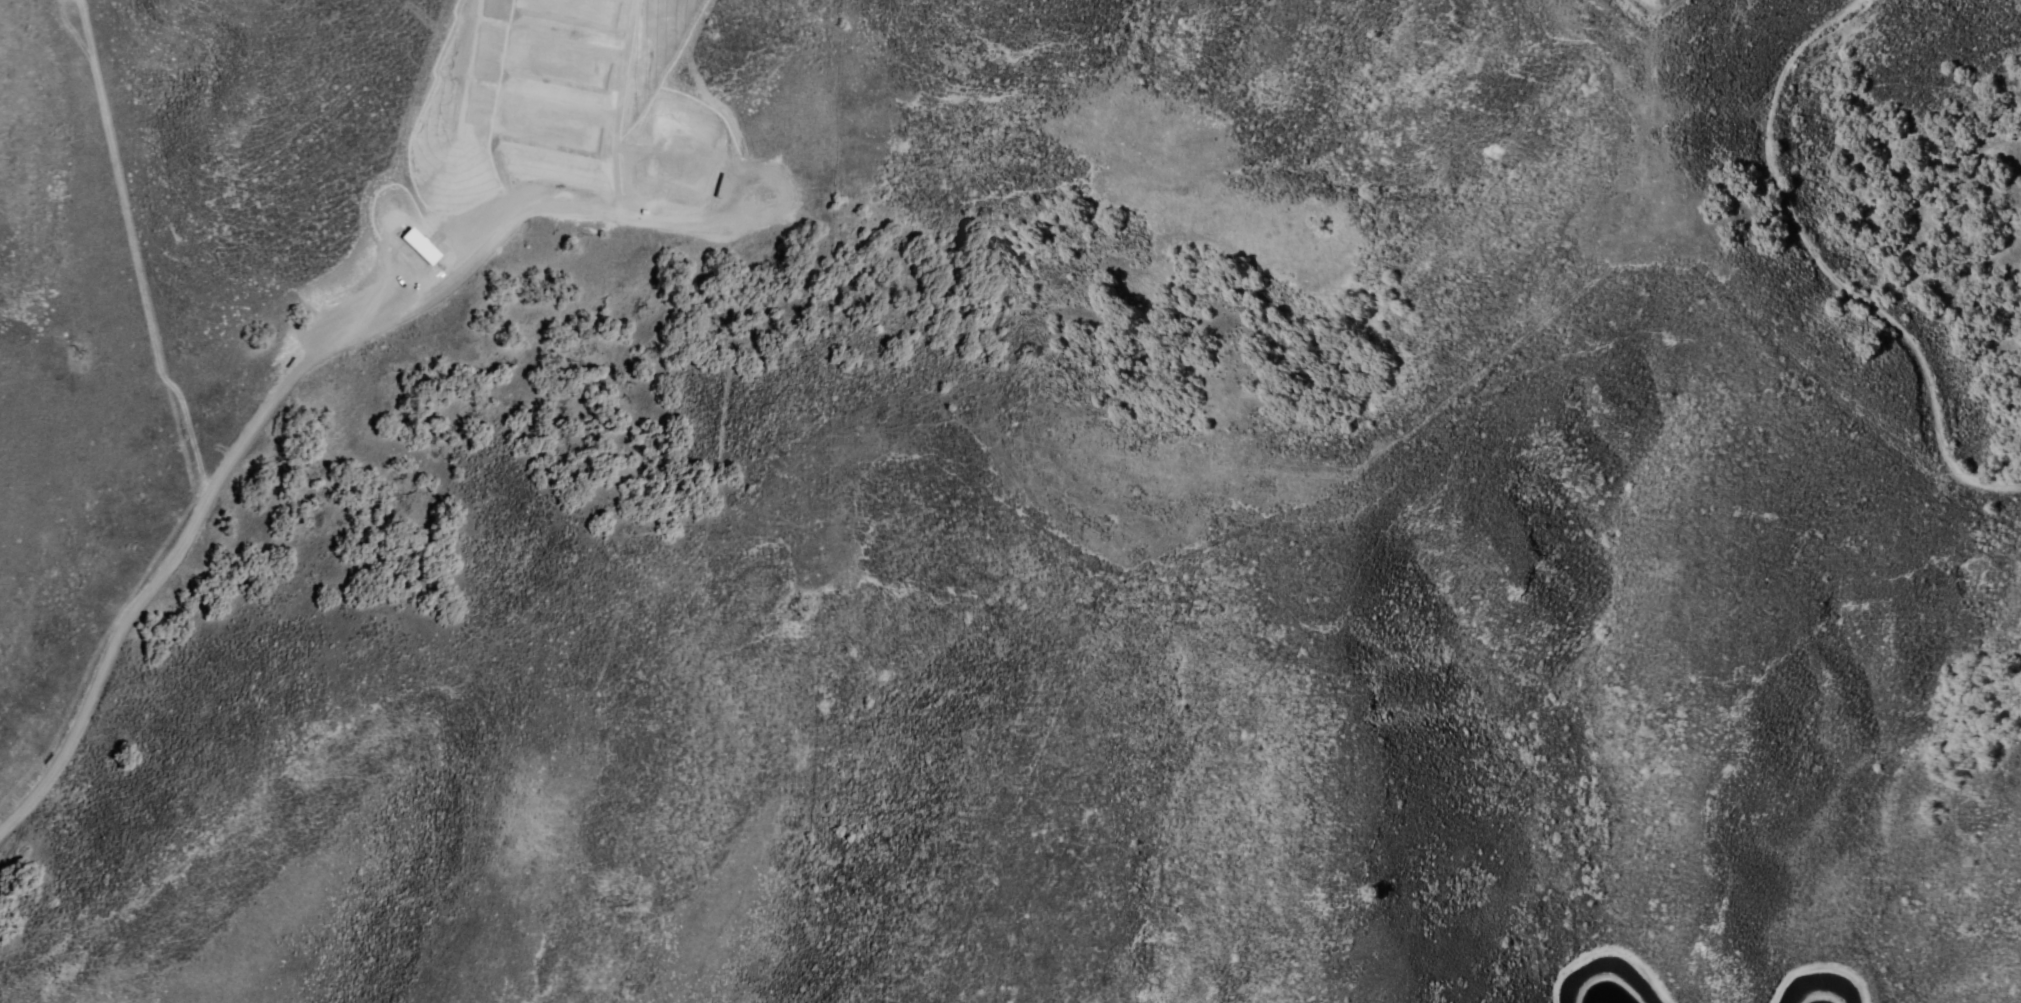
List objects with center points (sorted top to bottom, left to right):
road: (1825, 272)

